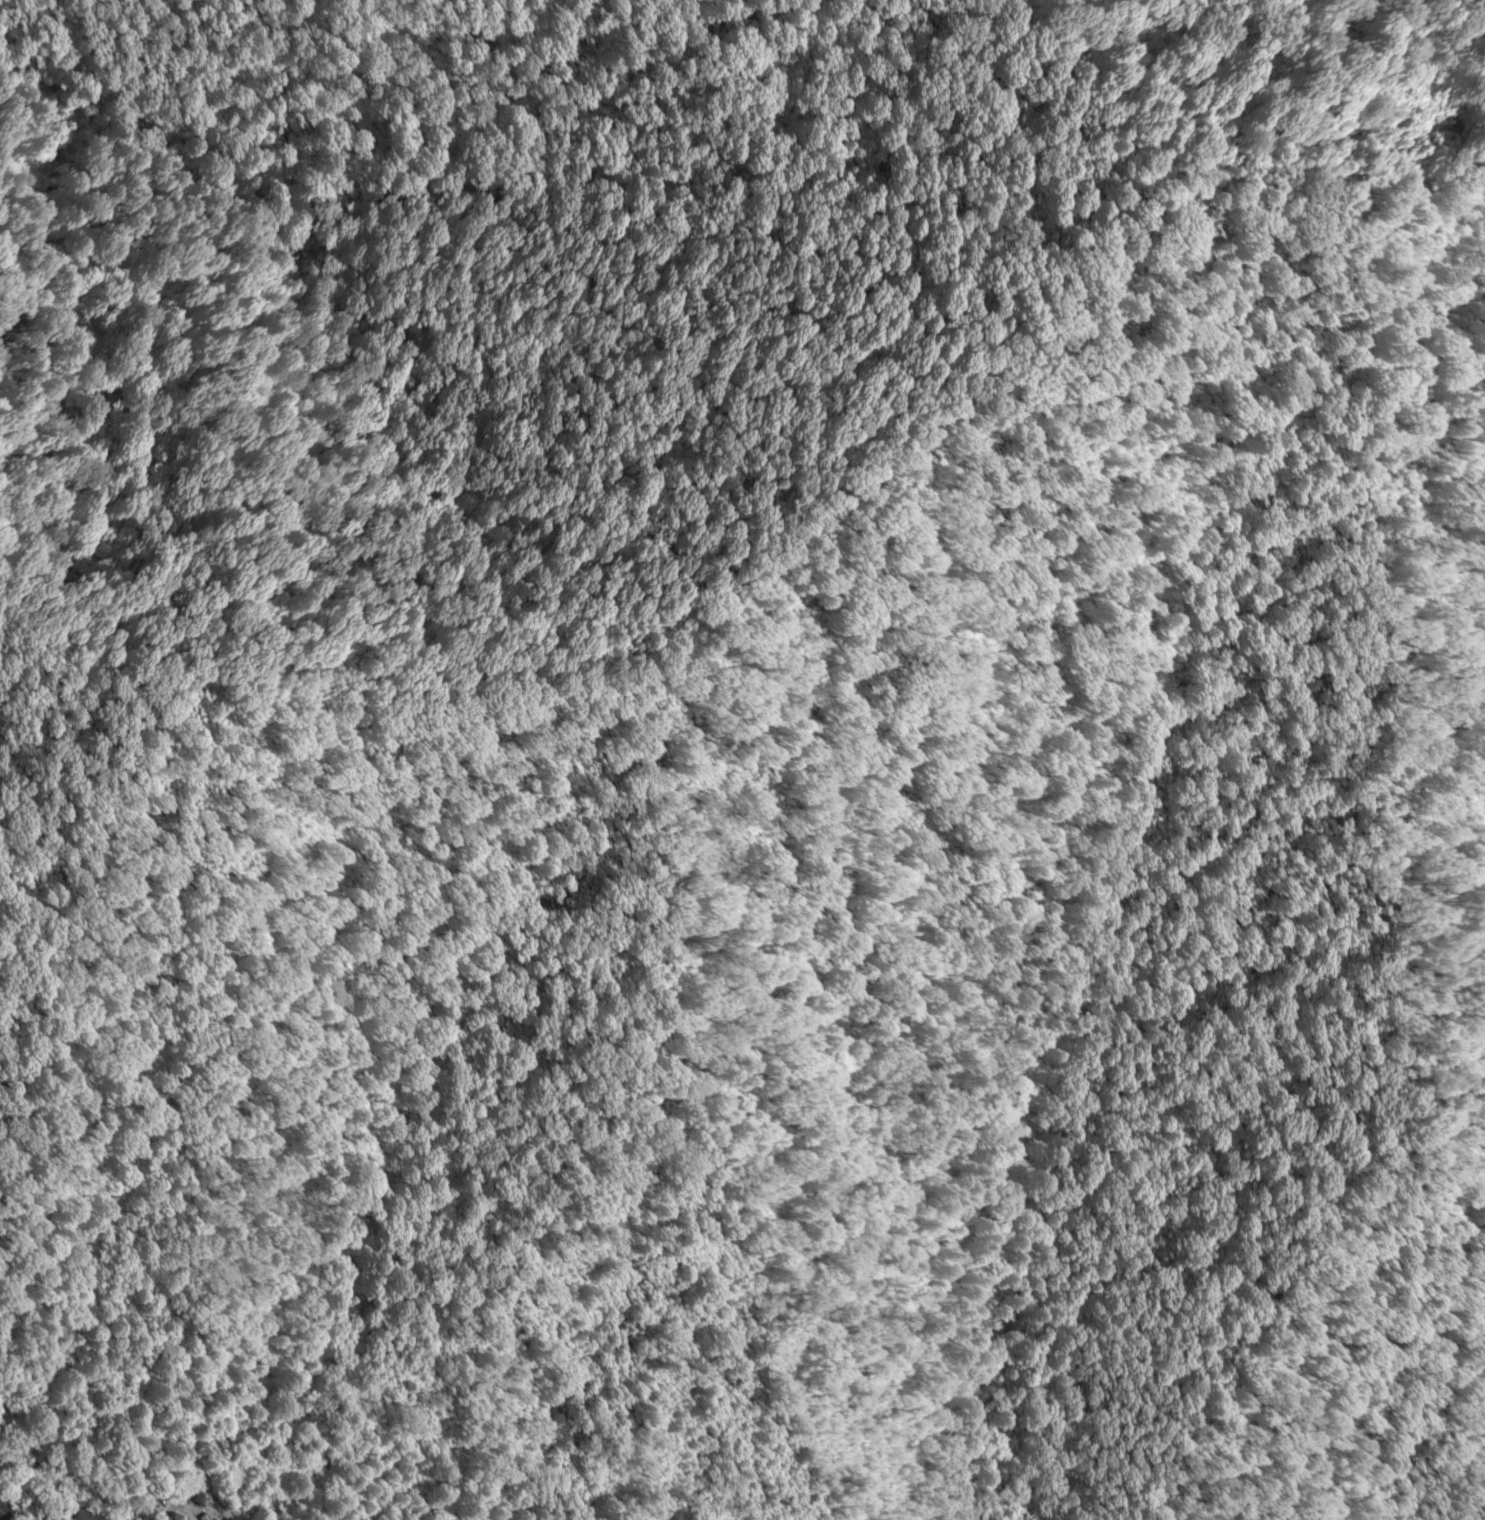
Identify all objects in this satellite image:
building: (199, 1499)
building: (3, 1512)
building: (83, 1513)
road: (168, 1515)
building: (203, 1518)
building: (178, 1519)

